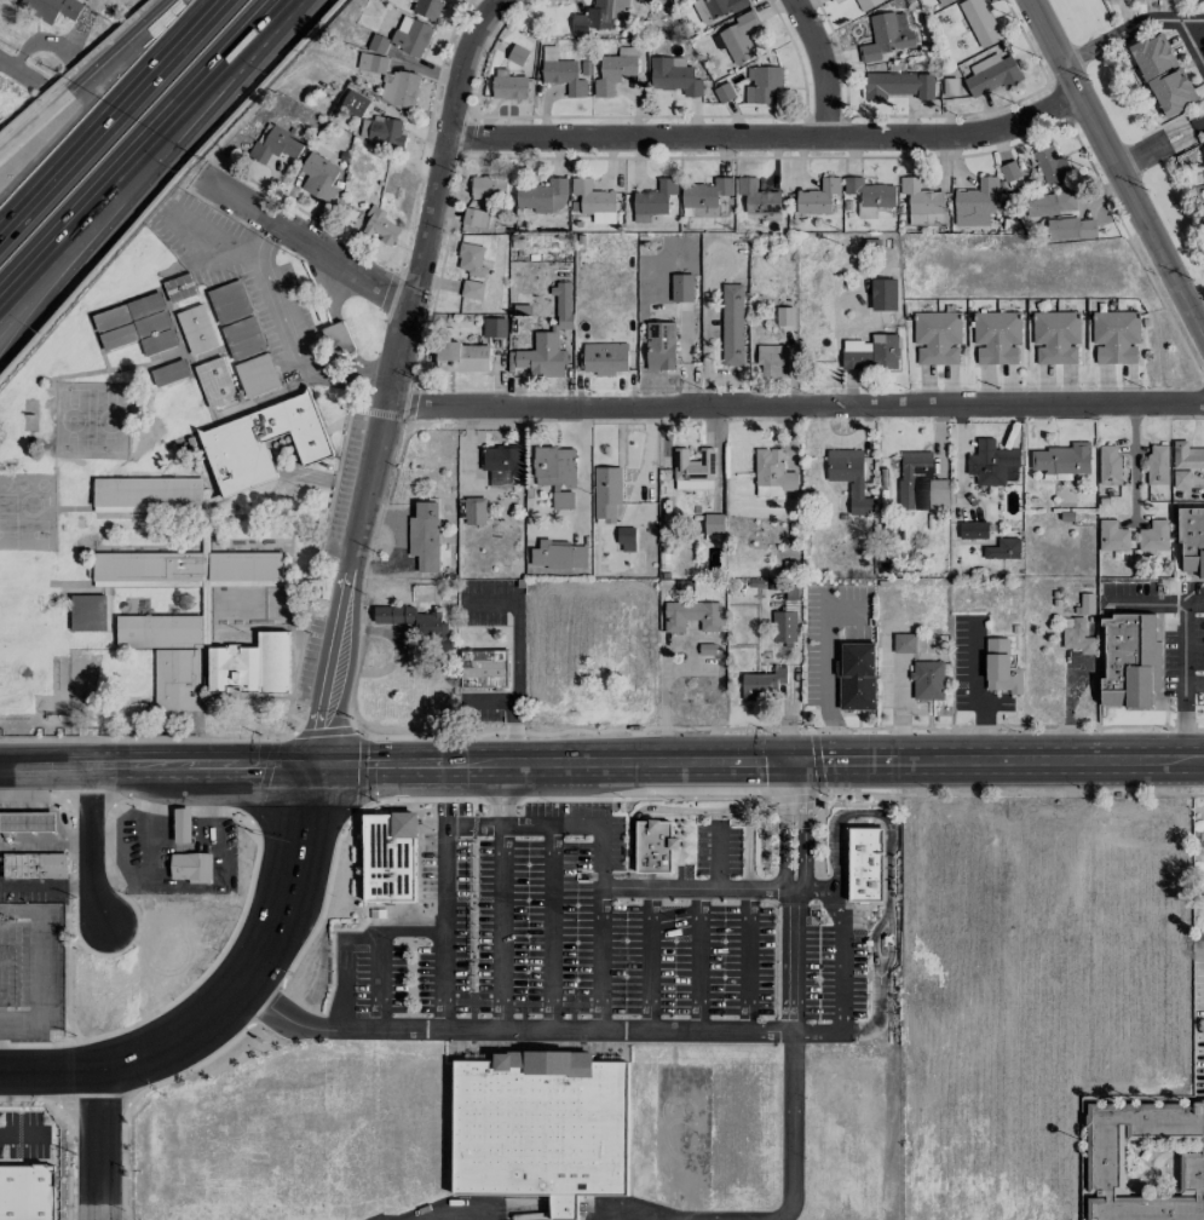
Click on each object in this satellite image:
road: (218, 0)
building: (837, 0)
building: (1113, 0)
building: (943, 1)
building: (866, 4)
building: (427, 7)
building: (715, 7)
building: (51, 8)
building: (599, 15)
building: (979, 22)
road: (1127, 28)
building: (887, 34)
building: (410, 35)
building: (738, 38)
road: (1191, 42)
road: (238, 44)
building: (517, 54)
building: (370, 62)
road: (820, 69)
building: (615, 70)
building: (561, 73)
road: (19, 74)
building: (991, 74)
building: (674, 75)
building: (1162, 75)
road: (109, 79)
building: (762, 84)
building: (508, 85)
building: (899, 85)
building: (951, 85)
building: (399, 88)
building: (724, 92)
building: (355, 102)
road: (109, 117)
building: (382, 131)
road: (766, 143)
building: (275, 144)
road: (443, 144)
road: (1157, 144)
building: (1050, 163)
road: (1113, 171)
building: (1010, 174)
building: (319, 177)
building: (488, 186)
road: (99, 192)
building: (543, 195)
building: (869, 195)
building: (704, 196)
building: (818, 196)
building: (655, 197)
building: (757, 197)
building: (594, 200)
building: (922, 202)
building: (975, 202)
building: (1050, 203)
road: (99, 208)
building: (381, 228)
building: (1072, 228)
road: (300, 236)
building: (469, 259)
building: (179, 287)
building: (681, 287)
building: (472, 289)
building: (229, 301)
building: (127, 311)
building: (731, 324)
building: (494, 327)
building: (196, 329)
building: (132, 330)
road: (289, 334)
building: (336, 336)
building: (937, 336)
building: (996, 336)
building: (1055, 336)
building: (1116, 336)
building: (242, 338)
building: (548, 339)
building: (157, 341)
building: (659, 345)
building: (872, 353)
building: (462, 357)
building: (604, 357)
building: (773, 361)
building: (257, 375)
building: (214, 384)
road: (794, 404)
building: (263, 443)
building: (1061, 461)
road: (1134, 461)
building: (1185, 462)
building: (501, 464)
building: (1108, 464)
building: (1157, 464)
building: (991, 465)
building: (554, 466)
road: (582, 470)
building: (693, 470)
building: (772, 473)
building: (849, 477)
building: (918, 482)
building: (606, 493)
building: (148, 496)
building: (561, 500)
building: (474, 510)
building: (713, 523)
building: (973, 529)
road: (358, 533)
building: (425, 535)
building: (1112, 536)
building: (1153, 536)
building: (626, 539)
building: (1191, 541)
building: (1003, 549)
building: (558, 554)
building: (243, 600)
road: (1193, 603)
building: (87, 612)
building: (692, 615)
building: (415, 622)
building: (783, 626)
building: (1077, 635)
road: (1181, 643)
road: (413, 651)
road: (518, 658)
building: (1129, 661)
building: (252, 664)
building: (483, 667)
building: (1000, 667)
building: (386, 672)
building: (856, 677)
building: (177, 679)
building: (762, 681)
road: (1192, 684)
road: (825, 685)
road: (973, 692)
road: (664, 697)
road: (495, 701)
road: (1067, 708)
road: (50, 753)
road: (852, 761)
road: (1052, 761)
road: (626, 762)
road: (755, 762)
road: (795, 762)
road: (402, 764)
road: (506, 764)
road: (522, 764)
road: (167, 765)
road: (252, 765)
road: (289, 765)
traffic signals: (310, 765)
road: (50, 778)
road: (512, 793)
road: (494, 795)
road: (690, 810)
road: (880, 813)
building: (27, 822)
road: (473, 824)
road: (551, 824)
road: (783, 835)
road: (806, 835)
road: (143, 840)
road: (87, 845)
building: (656, 846)
building: (391, 856)
road: (719, 857)
building: (866, 863)
building: (34, 865)
building: (191, 867)
road: (220, 877)
road: (719, 887)
road: (443, 926)
road: (502, 926)
road: (552, 926)
road: (600, 926)
road: (874, 939)
road: (892, 944)
road: (379, 946)
road: (650, 957)
road: (699, 957)
road: (747, 957)
road: (841, 959)
road: (257, 960)
road: (342, 965)
road: (38, 966)
road: (793, 967)
road: (880, 1012)
road: (537, 1029)
road: (48, 1071)
building: (543, 1126)
road: (791, 1127)
road: (22, 1134)
road: (97, 1145)
building: (1145, 1161)
building: (27, 1191)

